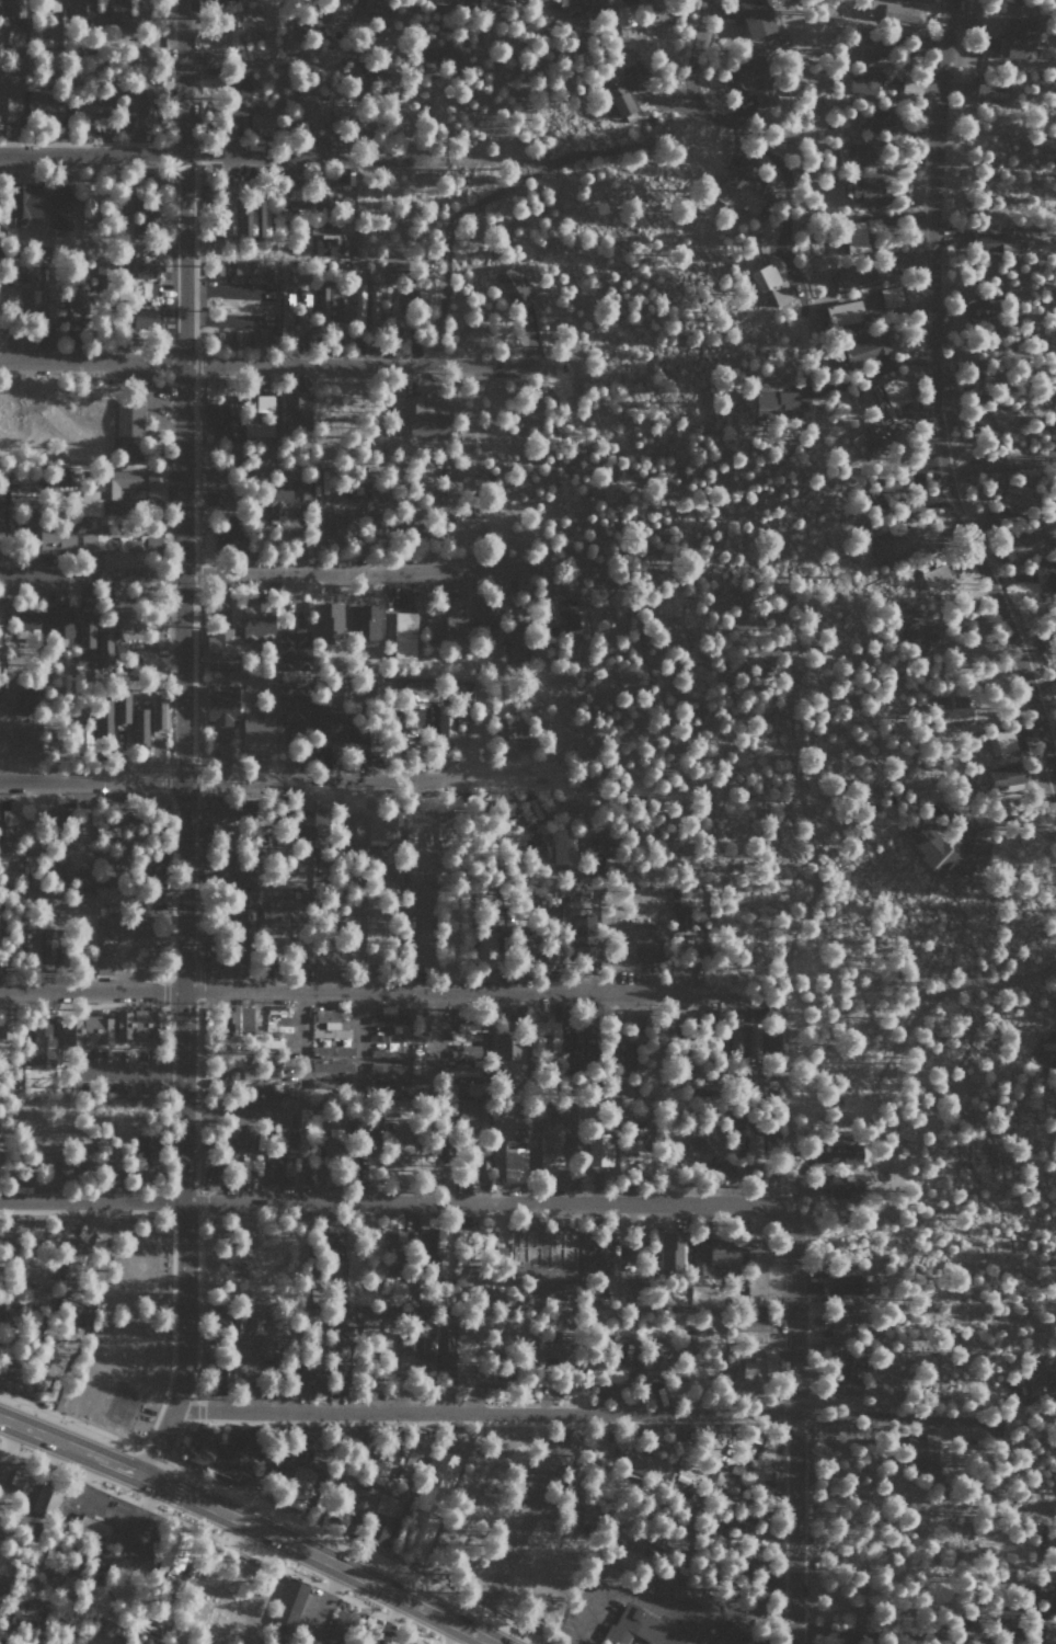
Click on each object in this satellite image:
building: (479, 0)
building: (518, 0)
building: (48, 2)
building: (558, 4)
building: (582, 4)
building: (374, 5)
building: (82, 7)
building: (16, 8)
building: (340, 8)
building: (655, 10)
building: (897, 11)
building: (117, 12)
building: (625, 13)
building: (754, 15)
building: (241, 28)
building: (1020, 36)
building: (289, 45)
building: (872, 46)
road: (688, 52)
building: (432, 62)
building: (756, 79)
building: (866, 80)
building: (239, 87)
building: (911, 87)
building: (623, 88)
building: (991, 89)
building: (10, 95)
building: (45, 102)
building: (144, 106)
building: (87, 107)
building: (311, 109)
building: (233, 117)
building: (879, 119)
building: (261, 122)
building: (860, 153)
road: (217, 155)
building: (748, 183)
building: (868, 190)
building: (730, 197)
building: (298, 198)
building: (25, 199)
building: (88, 205)
building: (59, 207)
building: (148, 212)
building: (232, 216)
building: (264, 216)
building: (250, 217)
building: (856, 236)
building: (996, 241)
building: (328, 244)
building: (23, 263)
building: (218, 267)
building: (146, 269)
building: (858, 278)
building: (772, 283)
building: (513, 284)
building: (77, 289)
building: (404, 293)
building: (13, 294)
building: (888, 296)
building: (322, 301)
building: (359, 301)
building: (51, 302)
building: (372, 302)
building: (286, 305)
building: (982, 307)
building: (341, 309)
building: (302, 310)
building: (839, 312)
building: (234, 338)
building: (866, 347)
road: (285, 364)
building: (980, 378)
building: (892, 391)
building: (264, 402)
building: (774, 403)
road: (929, 403)
building: (297, 409)
building: (227, 415)
building: (1003, 416)
building: (423, 418)
building: (988, 423)
building: (256, 429)
building: (128, 430)
building: (879, 436)
road: (998, 461)
building: (154, 481)
building: (105, 488)
building: (889, 492)
building: (1017, 493)
building: (286, 498)
building: (2, 515)
building: (334, 527)
building: (420, 527)
building: (229, 530)
building: (56, 536)
building: (101, 541)
building: (903, 543)
building: (1028, 543)
building: (1046, 571)
road: (261, 573)
building: (936, 576)
building: (492, 614)
building: (257, 618)
building: (330, 619)
building: (59, 620)
building: (365, 620)
building: (85, 629)
building: (455, 630)
building: (918, 631)
building: (404, 635)
building: (104, 648)
building: (221, 649)
building: (290, 649)
building: (516, 650)
building: (414, 688)
building: (463, 690)
building: (15, 703)
building: (221, 705)
building: (294, 707)
building: (954, 707)
building: (122, 708)
building: (158, 713)
building: (416, 716)
building: (104, 717)
building: (328, 722)
building: (446, 722)
building: (140, 724)
building: (355, 732)
building: (257, 733)
building: (1003, 740)
building: (508, 741)
building: (9, 742)
building: (27, 743)
road: (179, 743)
building: (1006, 777)
road: (262, 780)
building: (536, 808)
building: (215, 810)
building: (382, 825)
building: (5, 826)
building: (308, 827)
building: (353, 829)
building: (563, 845)
building: (945, 852)
building: (49, 865)
building: (222, 868)
building: (146, 869)
building: (383, 872)
building: (84, 877)
building: (245, 897)
building: (425, 900)
building: (572, 905)
building: (274, 910)
building: (681, 916)
building: (20, 931)
building: (584, 936)
building: (50, 941)
building: (647, 941)
building: (103, 947)
building: (424, 947)
building: (485, 947)
building: (223, 966)
road: (359, 990)
building: (390, 1017)
building: (241, 1019)
building: (330, 1025)
building: (138, 1026)
building: (88, 1031)
building: (544, 1035)
building: (736, 1041)
building: (772, 1042)
building: (754, 1043)
building: (42, 1044)
building: (508, 1044)
building: (1049, 1044)
building: (332, 1050)
building: (625, 1057)
building: (331, 1066)
road: (354, 1071)
building: (261, 1073)
road: (432, 1073)
building: (381, 1084)
building: (459, 1088)
building: (262, 1095)
road: (294, 1109)
building: (472, 1110)
building: (735, 1126)
building: (364, 1127)
building: (633, 1132)
building: (231, 1138)
building: (335, 1140)
building: (696, 1143)
building: (479, 1146)
building: (141, 1148)
building: (549, 1148)
building: (754, 1149)
building: (598, 1150)
building: (845, 1152)
building: (403, 1157)
building: (514, 1165)
building: (251, 1166)
building: (713, 1168)
building: (288, 1169)
building: (482, 1169)
building: (274, 1178)
building: (846, 1184)
road: (393, 1205)
building: (333, 1246)
building: (77, 1253)
building: (431, 1253)
building: (670, 1253)
building: (716, 1253)
building: (501, 1256)
building: (600, 1261)
building: (756, 1275)
building: (843, 1285)
building: (72, 1312)
building: (369, 1315)
building: (221, 1320)
building: (254, 1321)
building: (753, 1323)
building: (840, 1331)
building: (410, 1345)
building: (445, 1347)
building: (335, 1348)
building: (549, 1348)
building: (623, 1351)
building: (426, 1354)
building: (655, 1362)
building: (760, 1367)
building: (234, 1373)
building: (851, 1374)
building: (1041, 1380)
building: (313, 1382)
road: (567, 1414)
road: (787, 1426)
building: (927, 1449)
building: (202, 1450)
building: (236, 1454)
building: (645, 1465)
building: (760, 1465)
road: (72, 1474)
building: (732, 1479)
building: (372, 1480)
building: (342, 1484)
building: (298, 1488)
building: (45, 1498)
building: (429, 1505)
road: (521, 1523)
road: (249, 1526)
building: (92, 1529)
building: (380, 1530)
building: (171, 1559)
building: (291, 1599)
building: (1053, 1601)
building: (24, 1608)
building: (635, 1625)
building: (737, 1629)
building: (1049, 1634)
building: (118, 1642)
building: (764, 1642)

